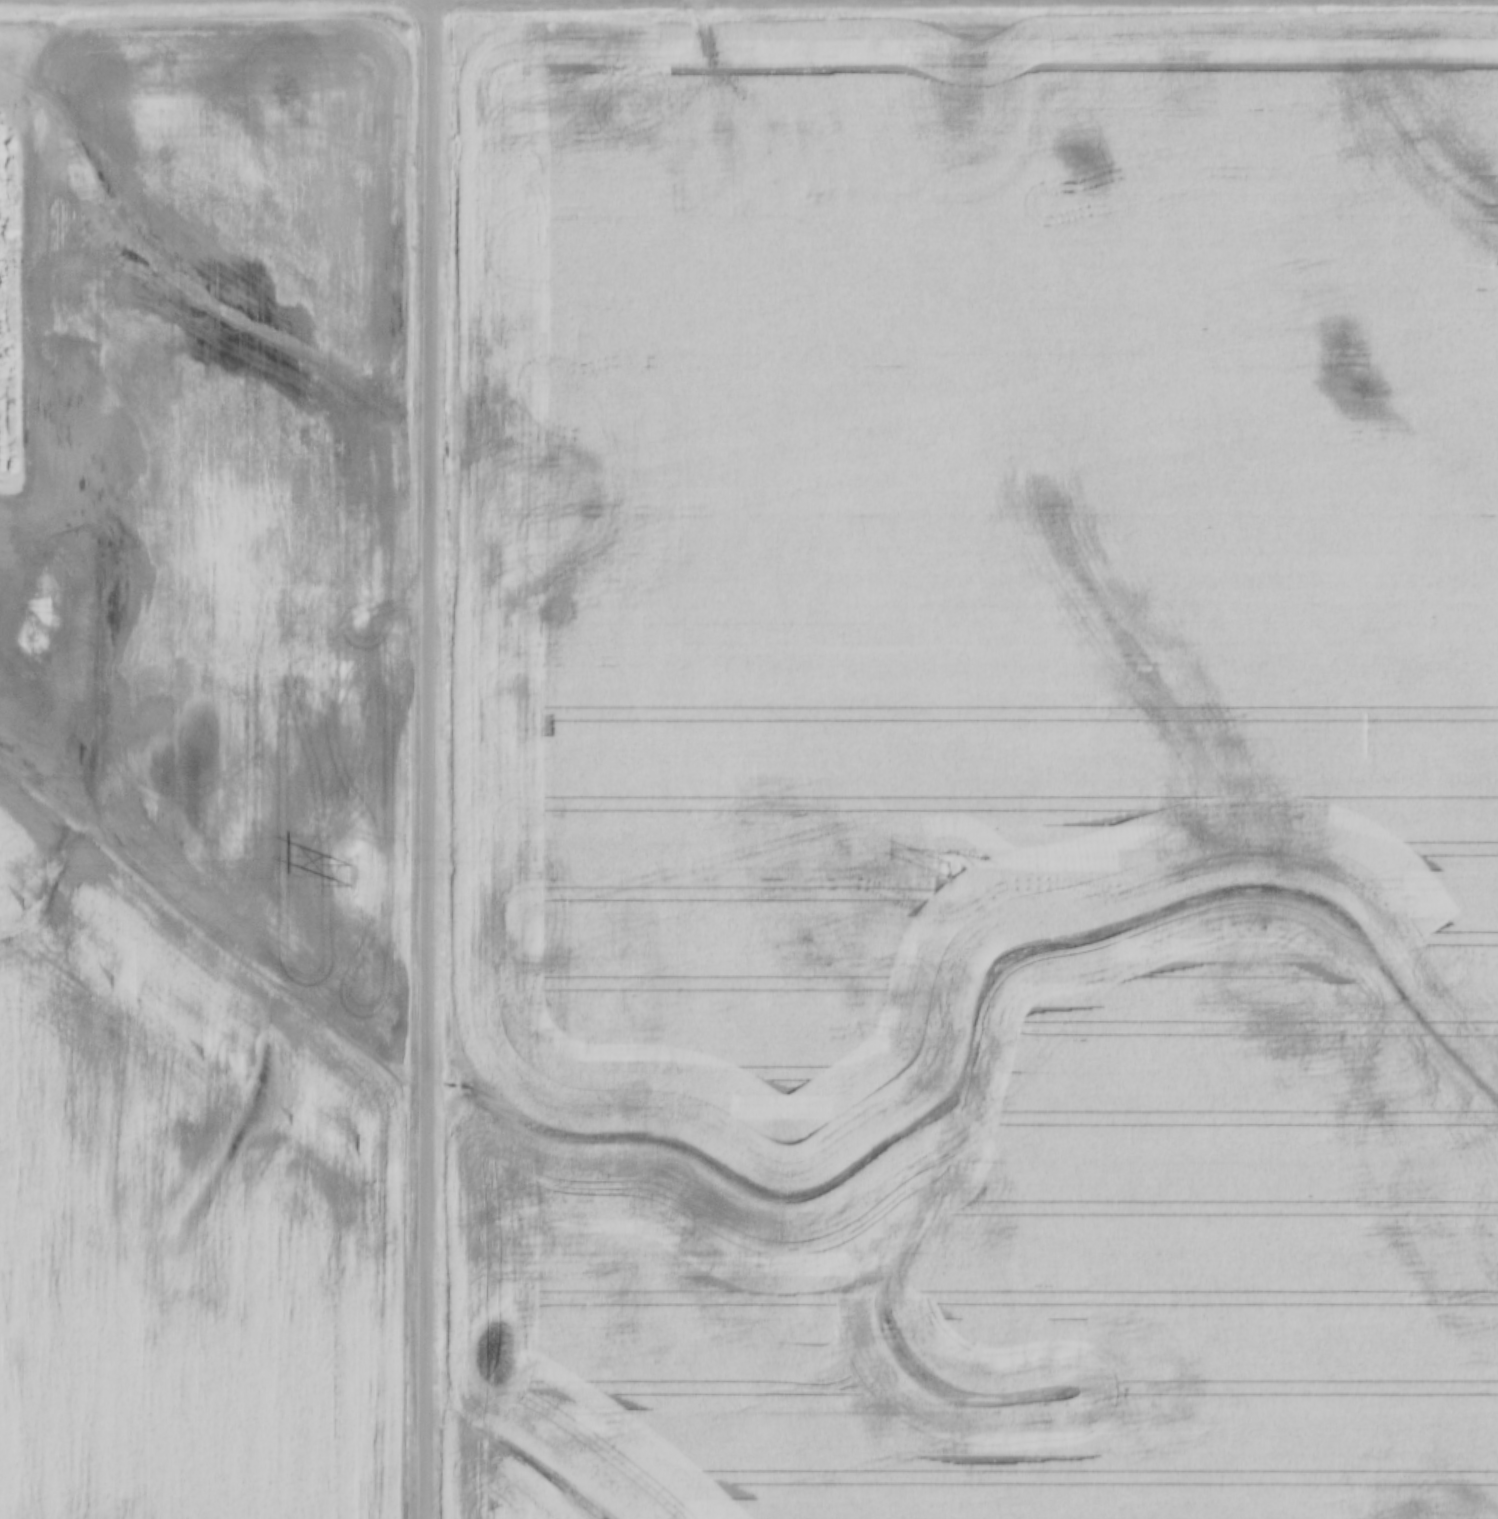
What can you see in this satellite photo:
road: (427, 759)
power tower: (943, 871)
power tower: (353, 875)

